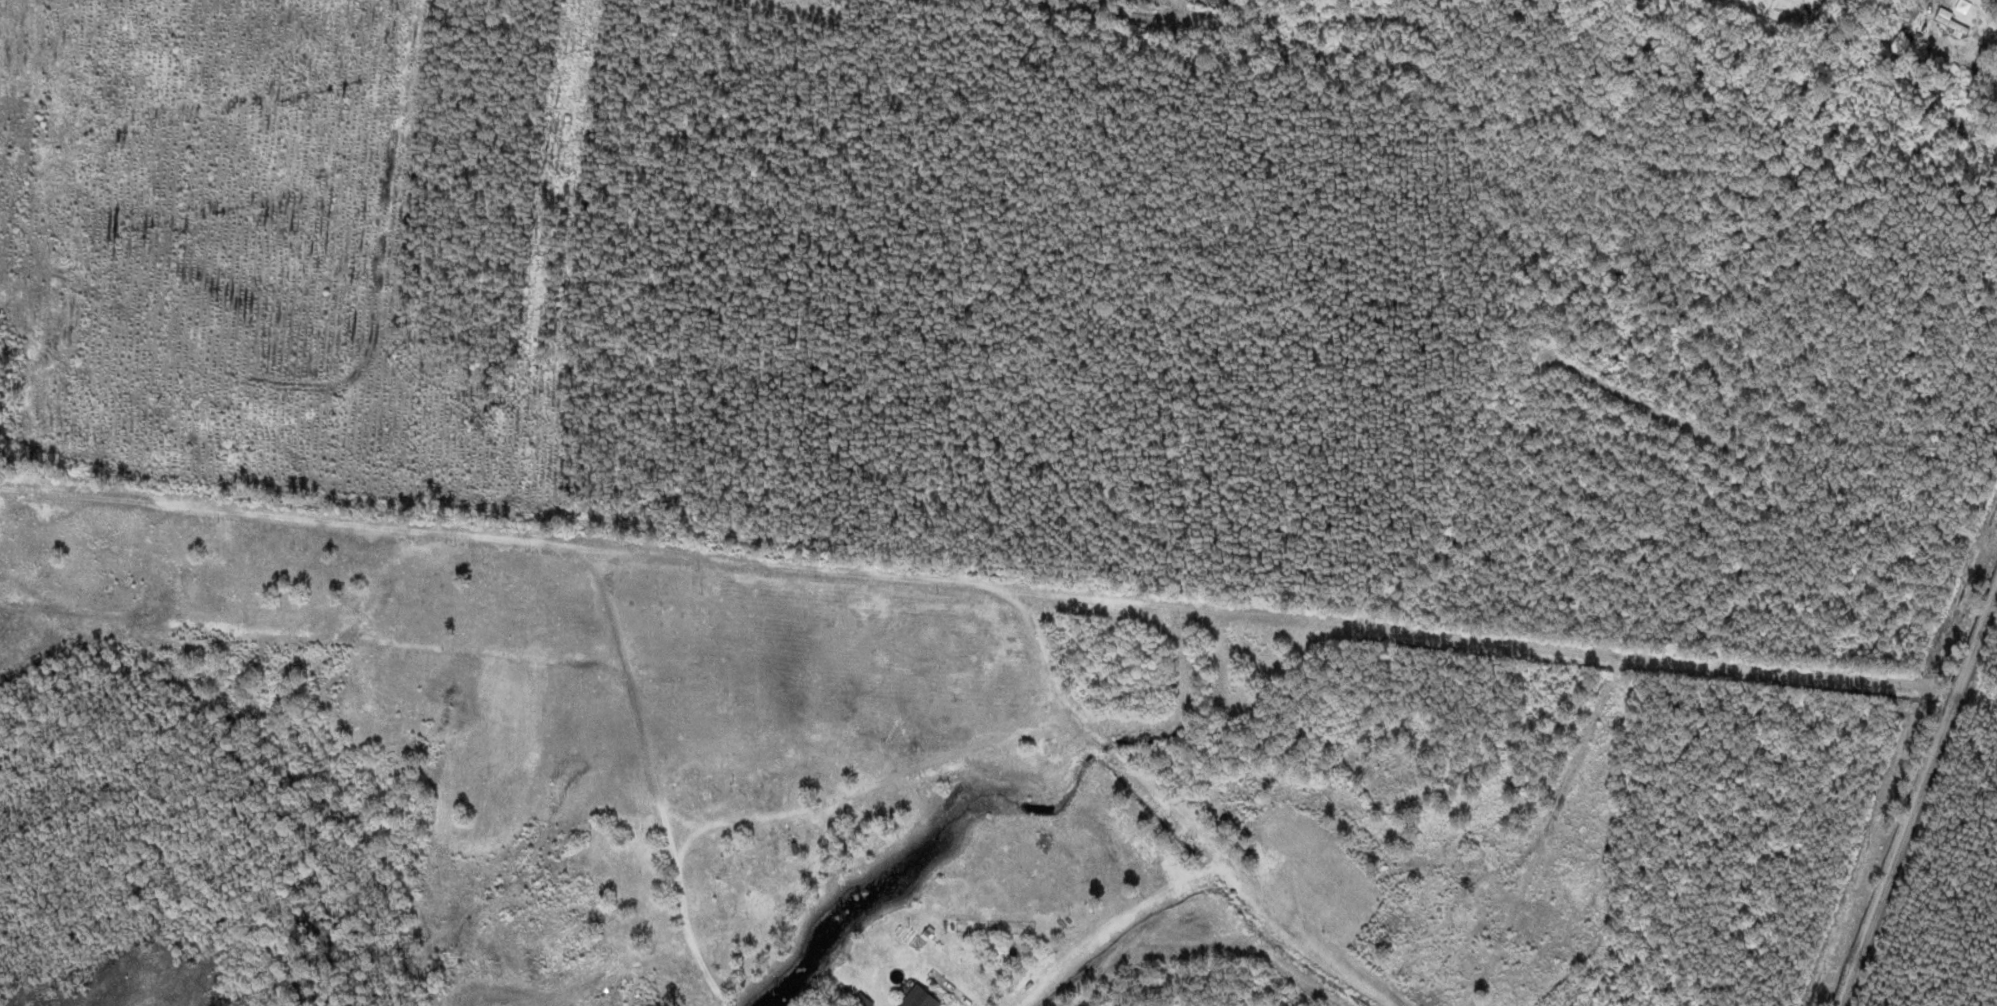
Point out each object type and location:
building: (1952, 22)
road: (1918, 797)
building: (784, 850)
building: (733, 885)
building: (916, 998)
building: (861, 1000)

